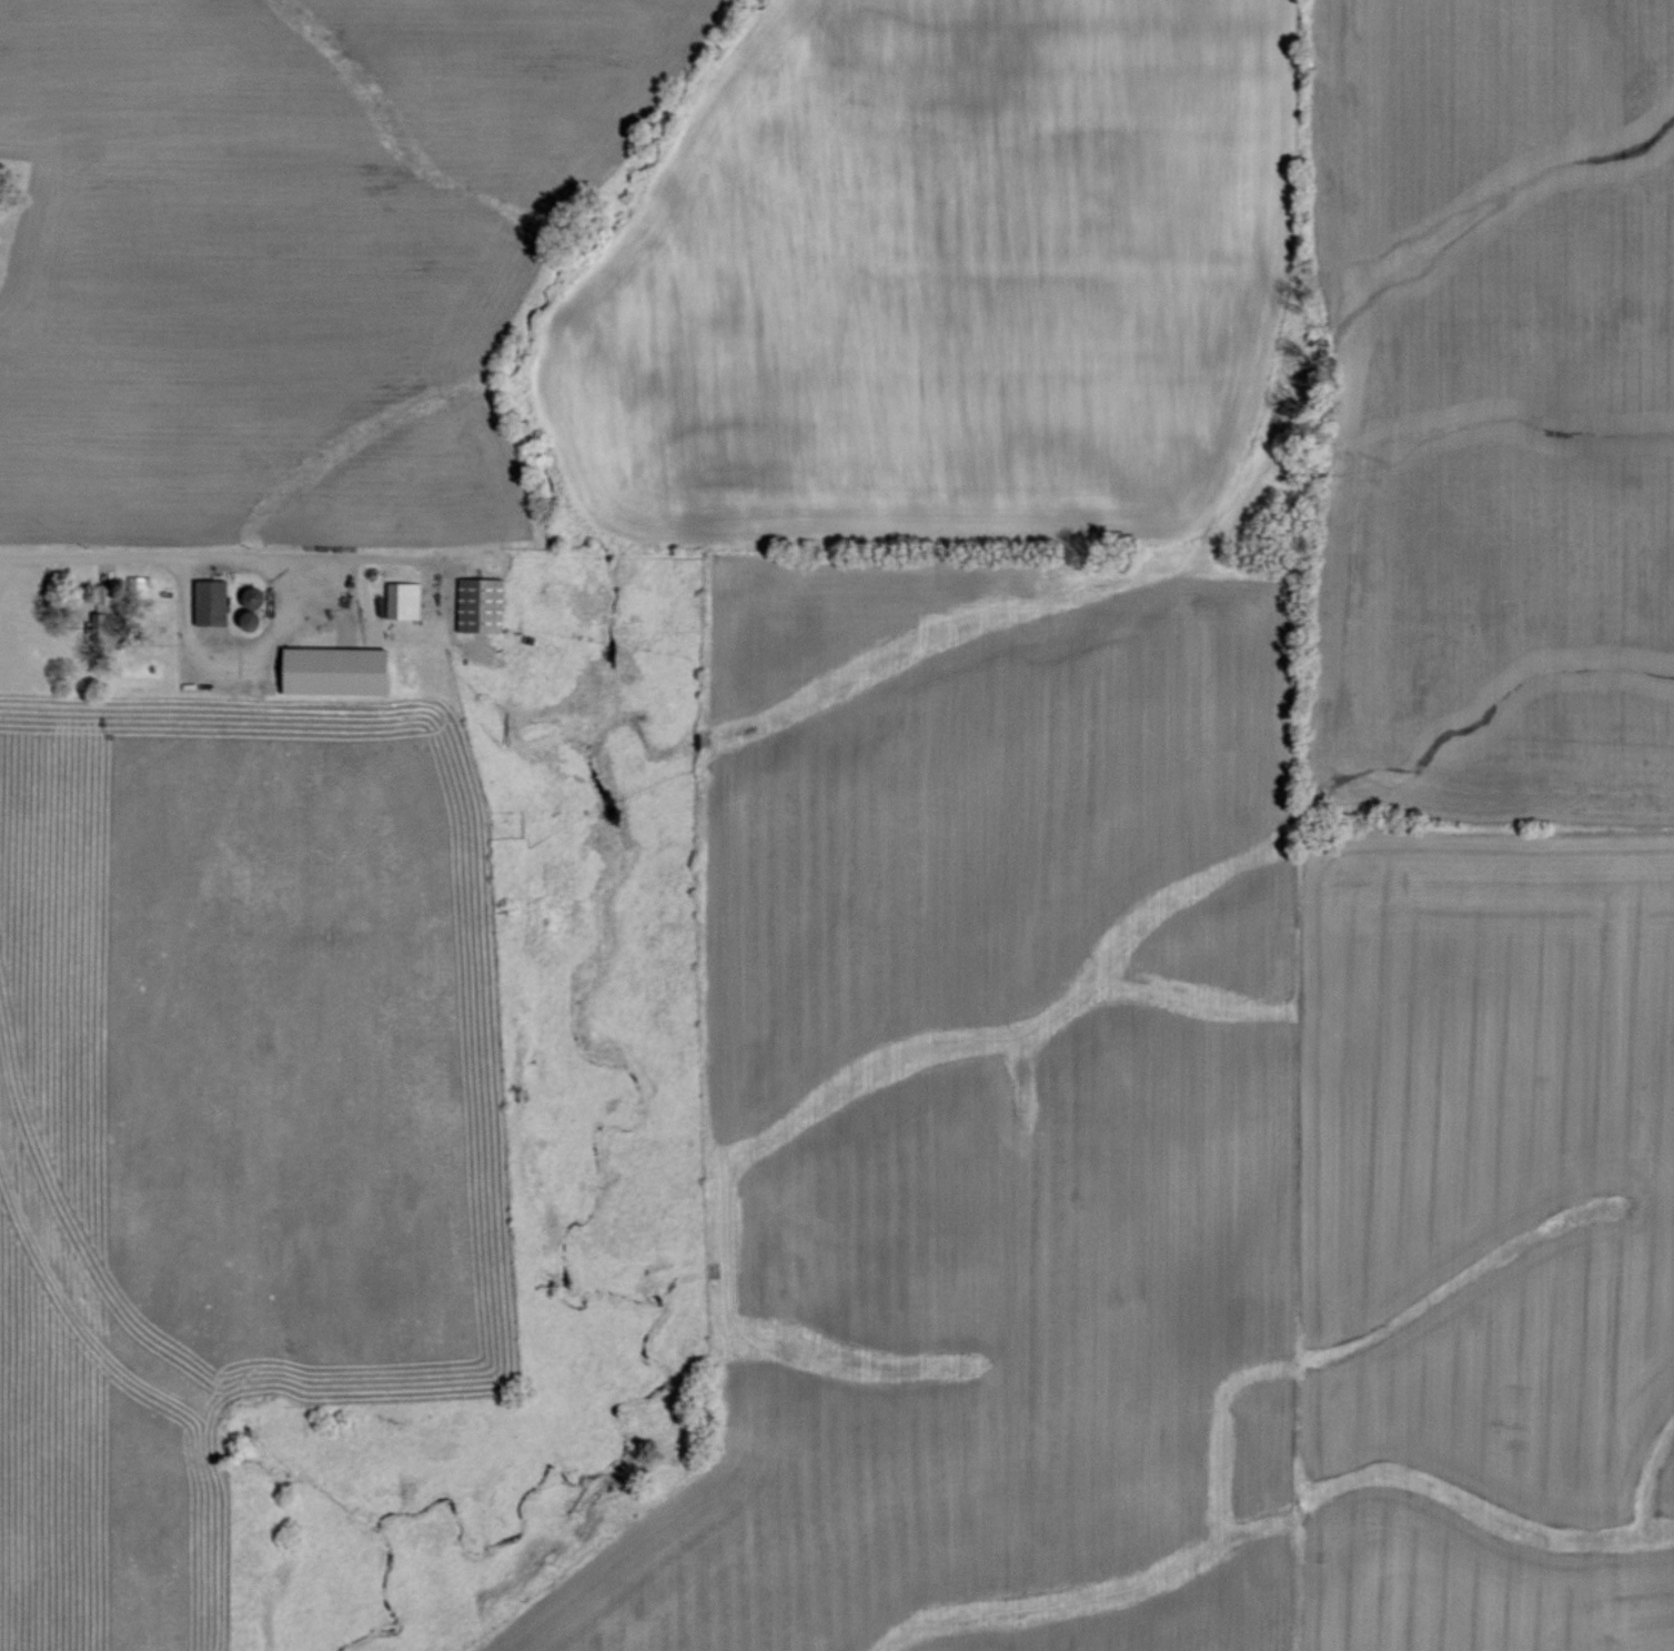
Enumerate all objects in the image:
road: (91, 555)
building: (399, 601)
building: (206, 603)
building: (475, 605)
building: (98, 615)
road: (265, 642)
building: (327, 672)

